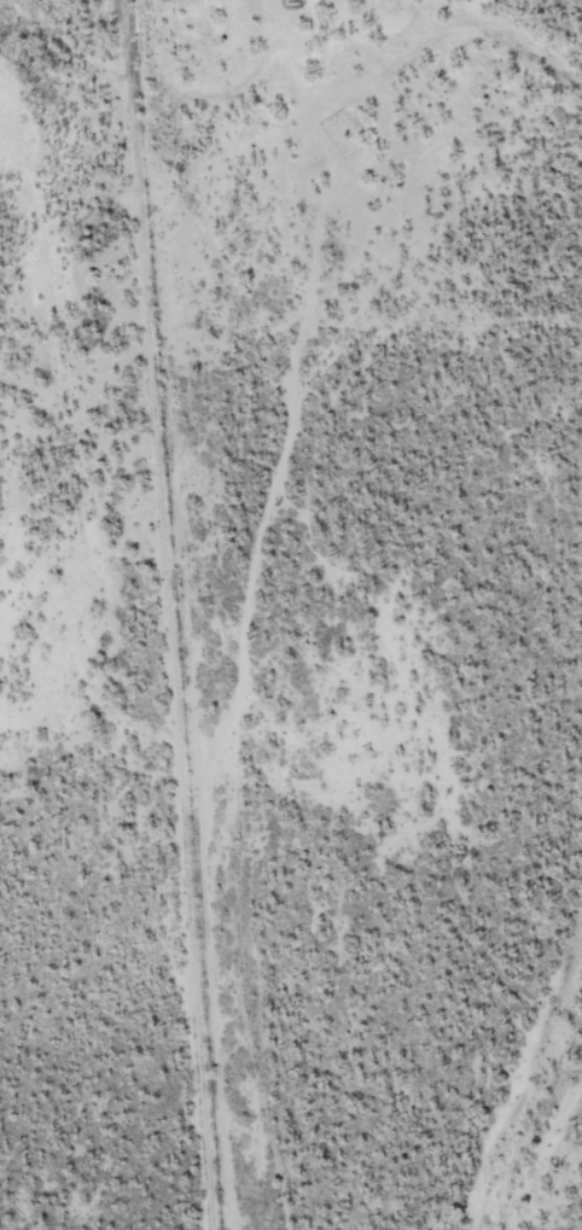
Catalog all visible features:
road: (254, 606)
road: (126, 747)

